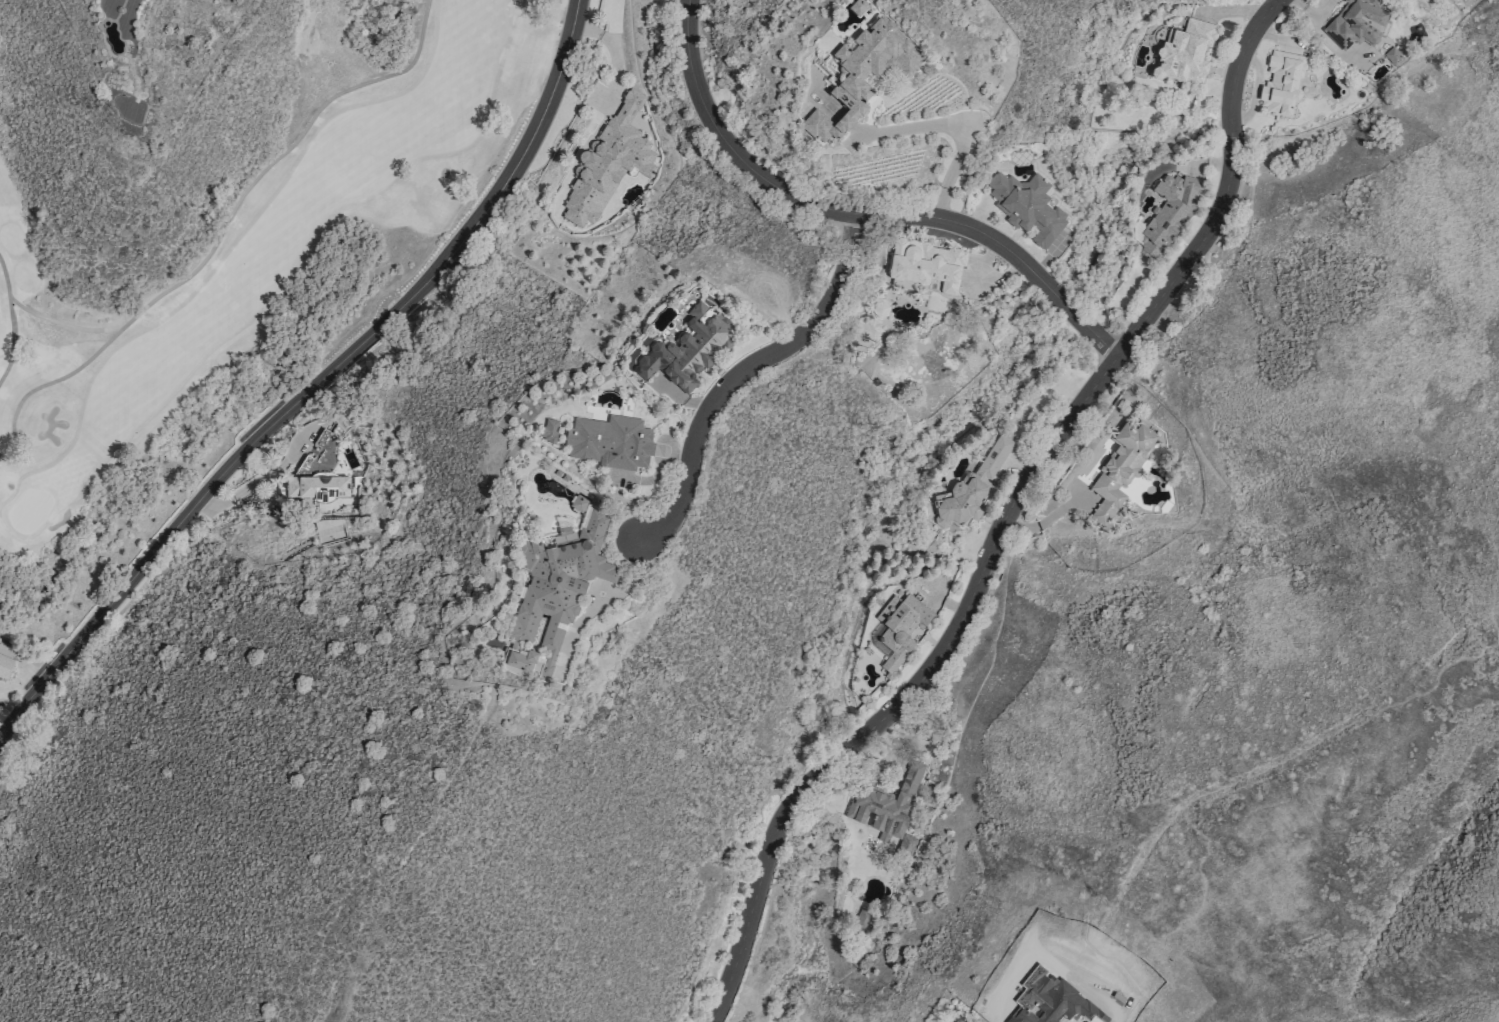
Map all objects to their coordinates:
building: (857, 7)
building: (1356, 22)
building: (1183, 51)
building: (1392, 56)
building: (862, 74)
building: (1280, 82)
road: (960, 128)
building: (607, 162)
building: (1027, 206)
building: (1167, 213)
road: (860, 214)
road: (228, 215)
park: (218, 243)
building: (924, 263)
road: (10, 336)
building: (687, 348)
road: (744, 376)
road: (42, 383)
road: (316, 384)
building: (549, 431)
building: (612, 442)
building: (1119, 468)
road: (252, 480)
building: (316, 487)
building: (970, 488)
building: (577, 503)
road: (1005, 515)
building: (553, 595)
road: (602, 603)
building: (896, 628)
building: (4, 666)
building: (882, 816)

